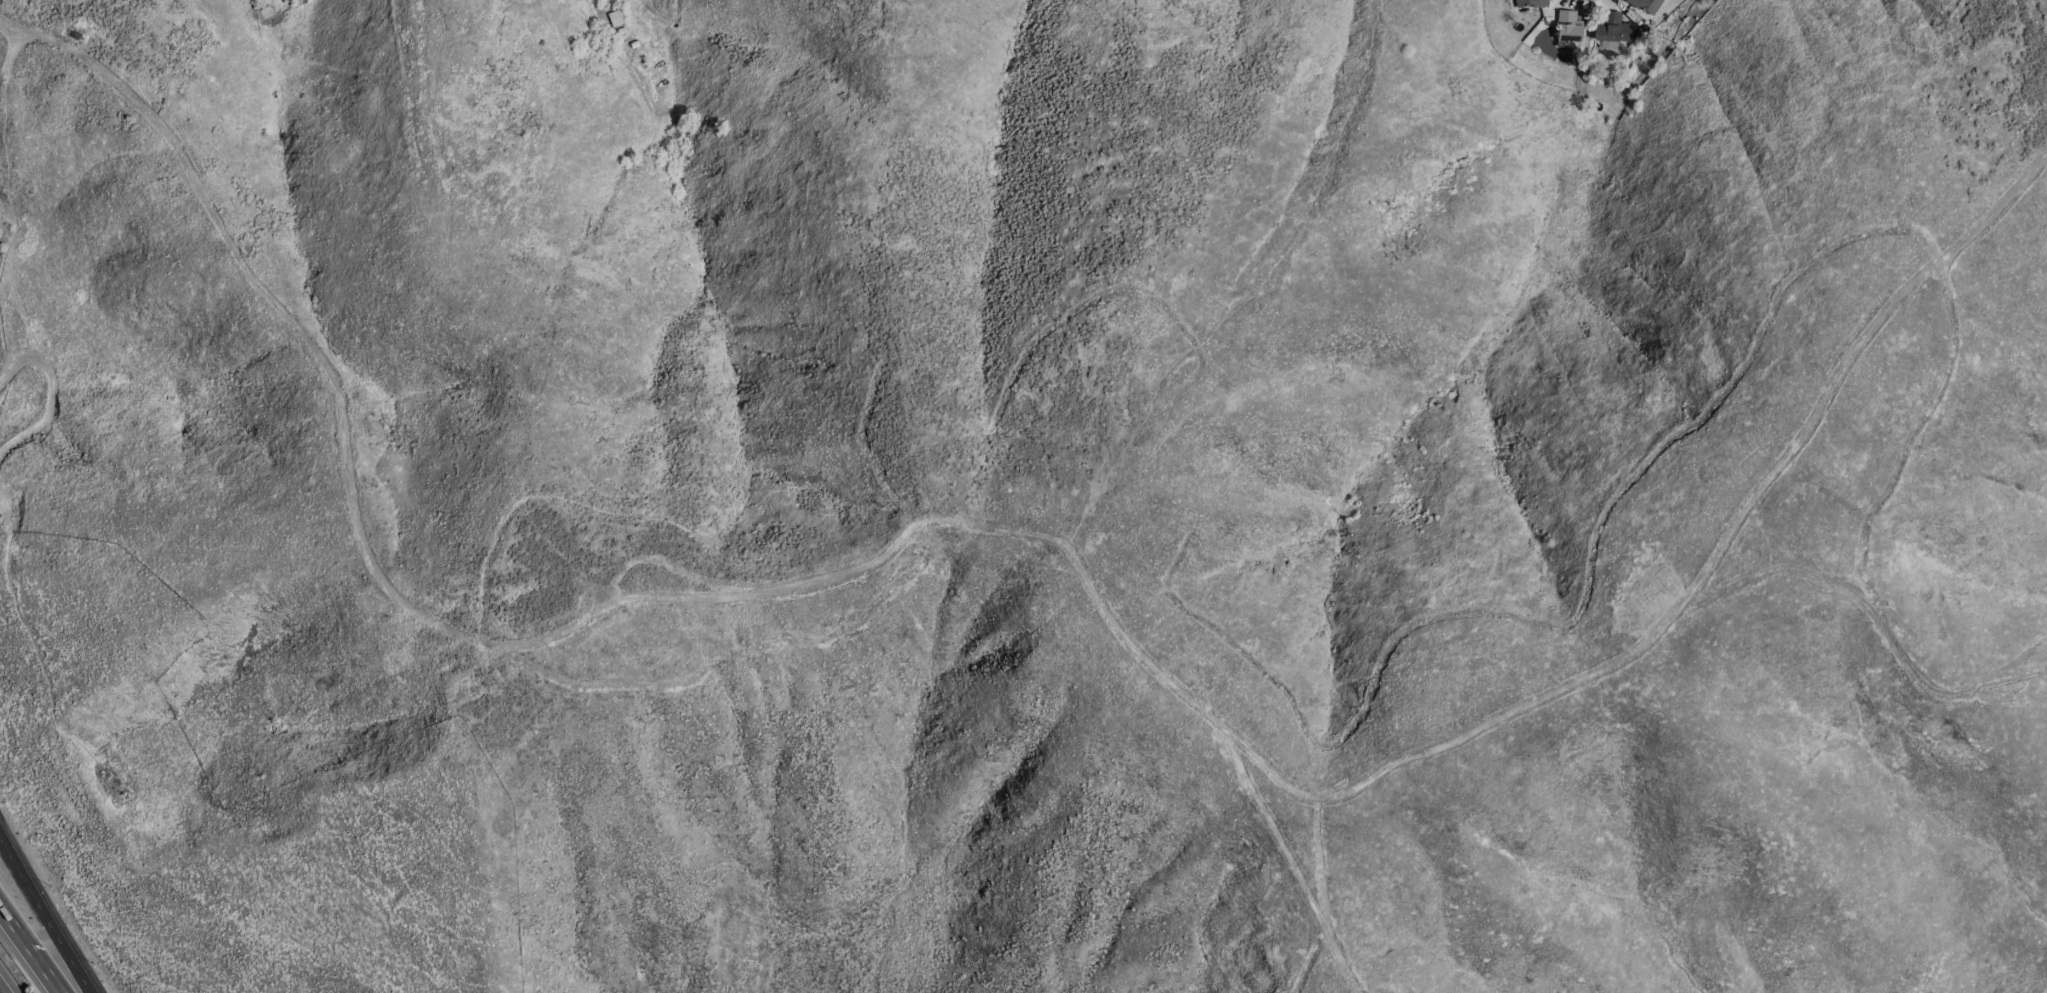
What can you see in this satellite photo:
building: (1530, 3)
building: (1645, 5)
building: (614, 18)
building: (1567, 26)
building: (1611, 27)
road: (1030, 536)
road: (45, 915)
road: (30, 952)
road: (6, 984)

